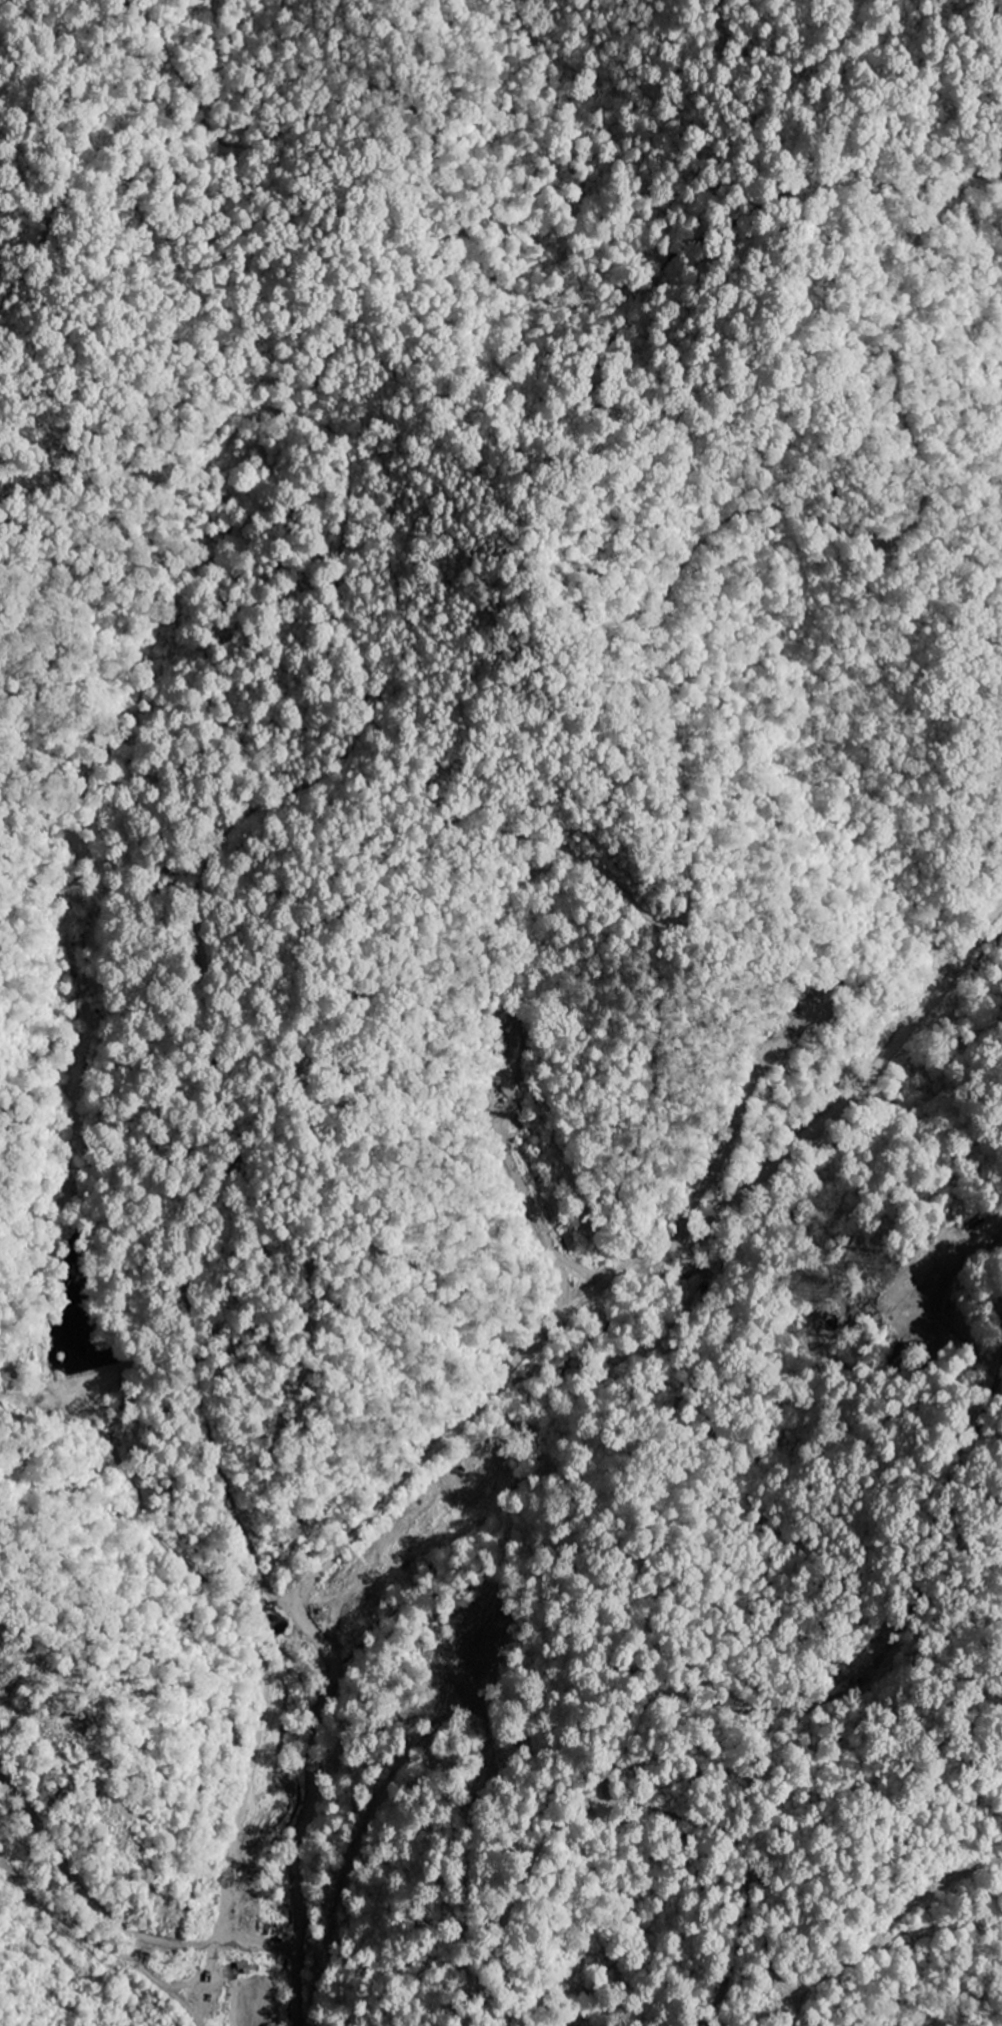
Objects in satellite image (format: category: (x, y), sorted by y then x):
road: (297, 1600)

